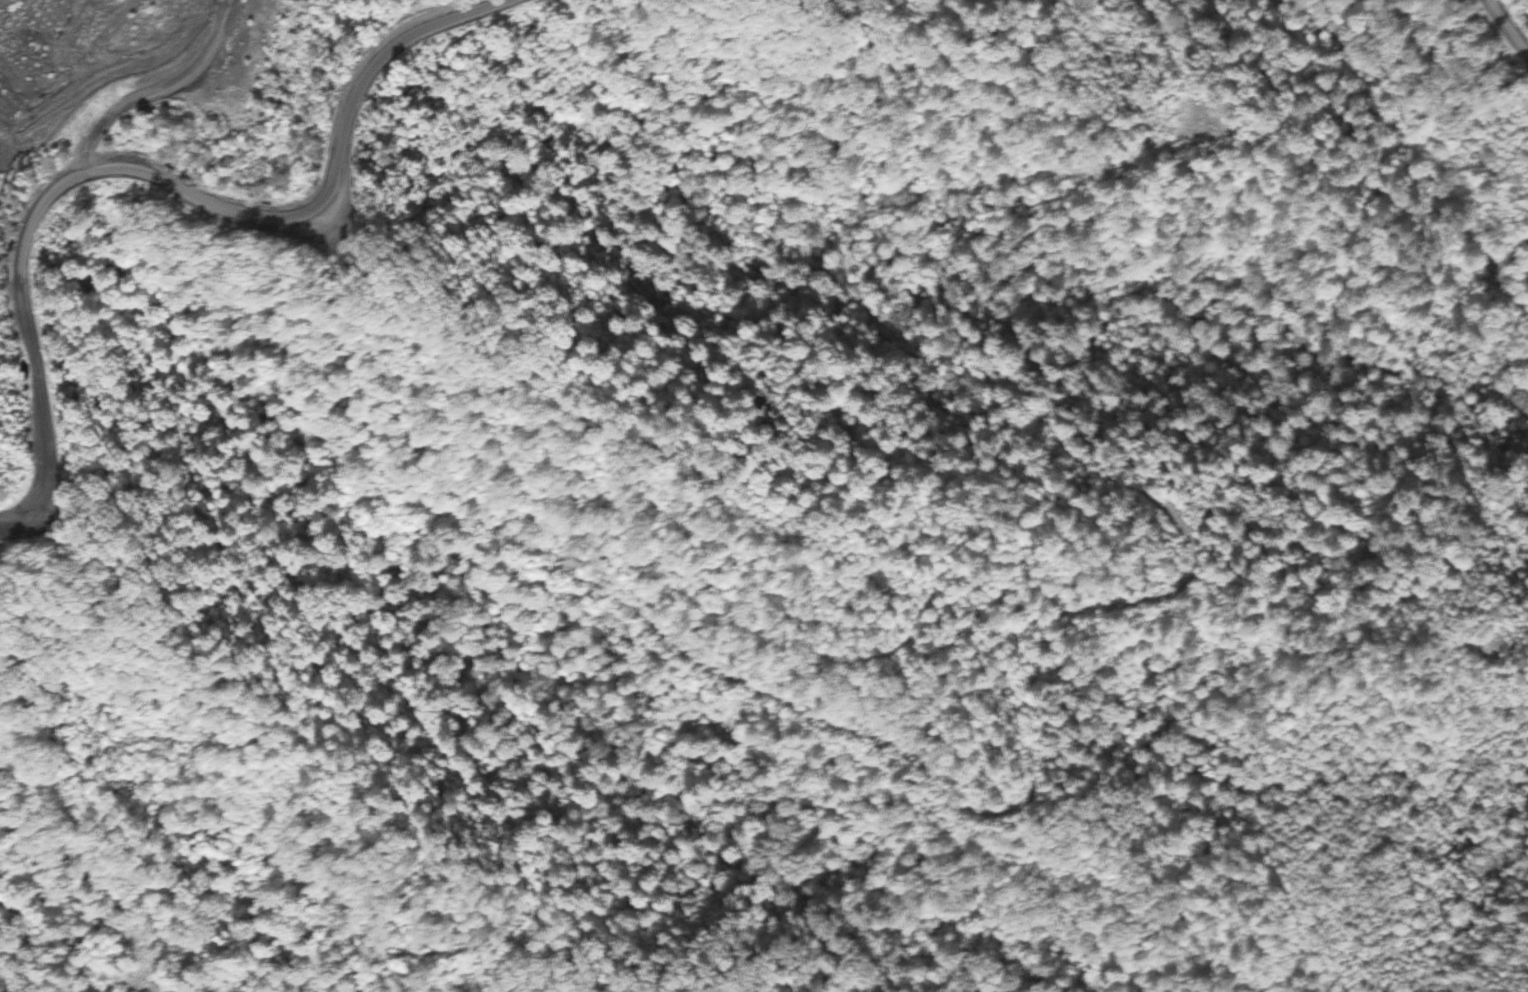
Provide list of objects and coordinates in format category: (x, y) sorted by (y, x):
quarry: (111, 77)

